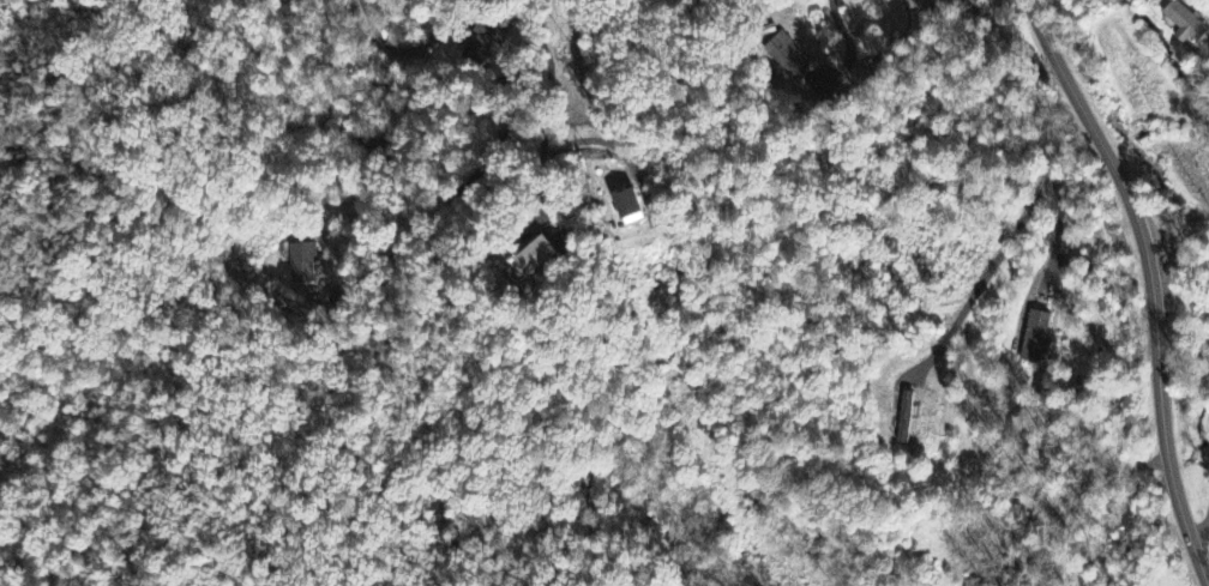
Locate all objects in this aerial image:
building: (1185, 24)
building: (482, 37)
road: (404, 52)
building: (787, 59)
park: (215, 128)
road: (1041, 187)
building: (631, 209)
building: (535, 258)
building: (301, 264)
road: (1151, 282)
building: (1035, 338)
building: (906, 418)
road: (1203, 528)

